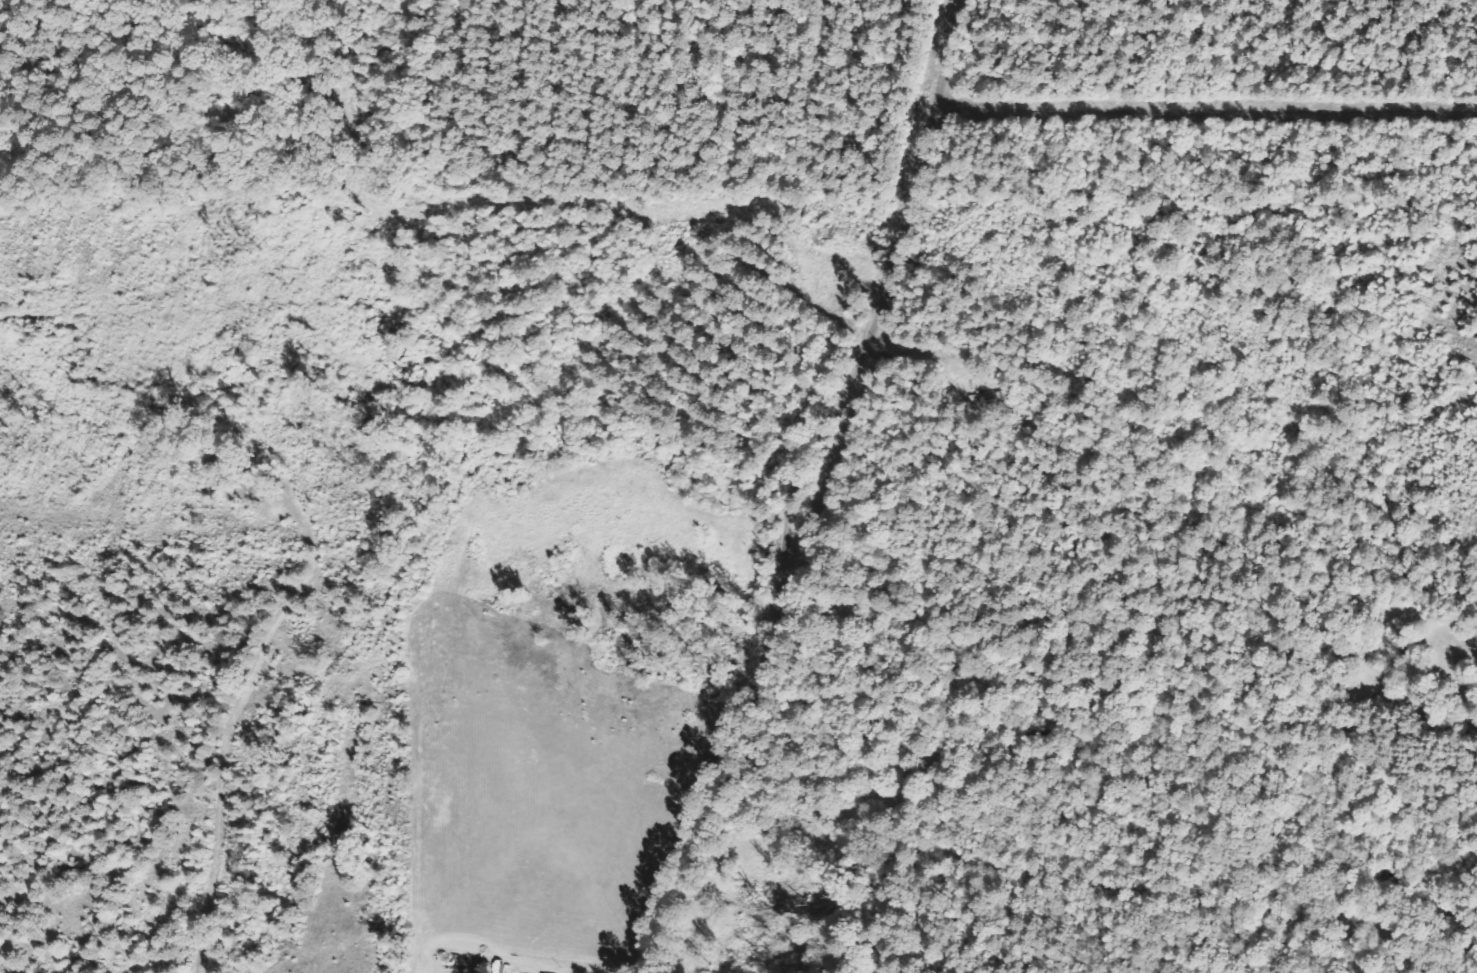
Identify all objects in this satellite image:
road: (817, 486)

